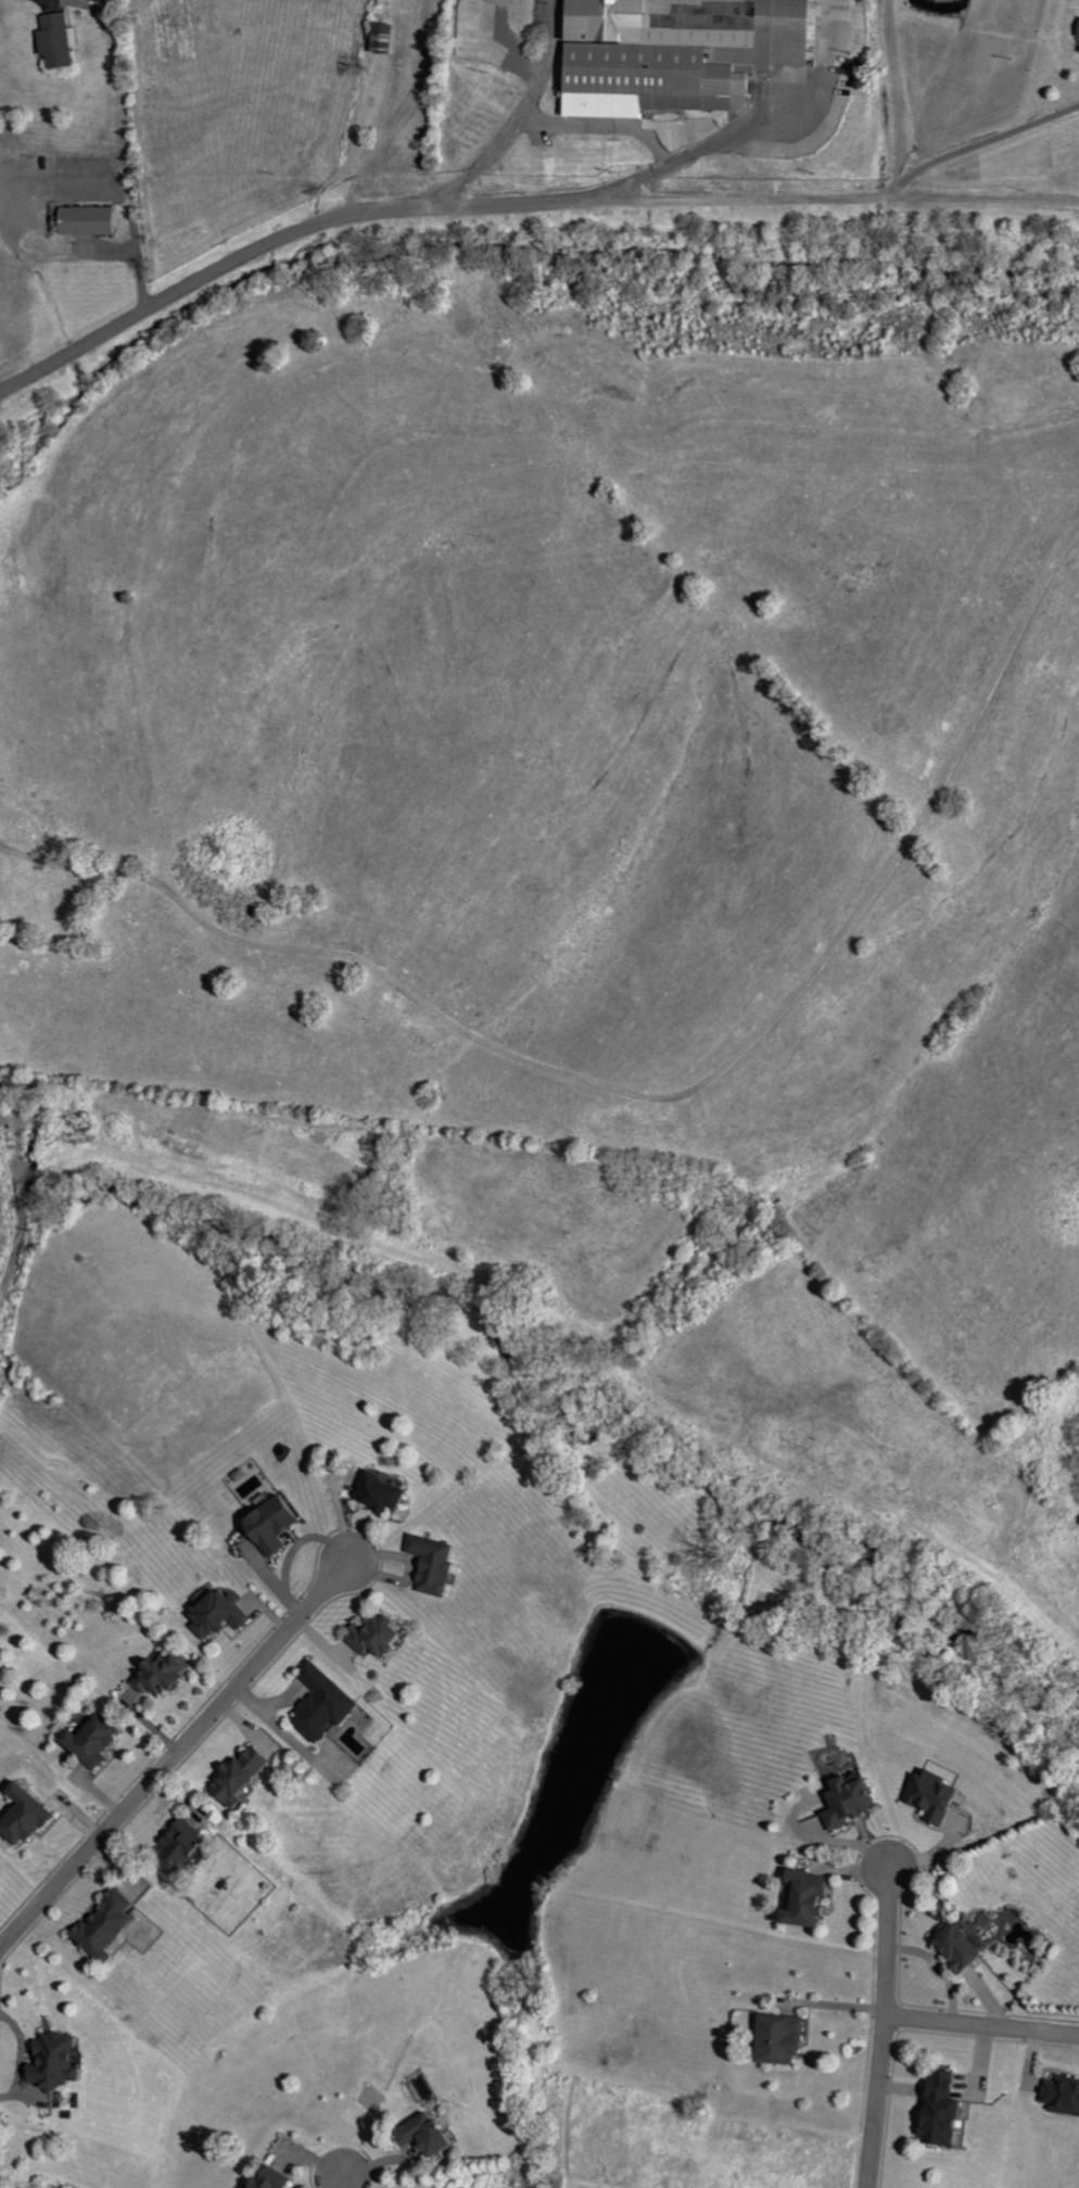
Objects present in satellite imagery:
building: (1077, 29)
building: (388, 38)
building: (61, 40)
building: (677, 48)
building: (1078, 53)
road: (820, 55)
road: (893, 93)
road: (524, 114)
road: (602, 126)
road: (852, 195)
road: (978, 199)
road: (384, 209)
road: (129, 214)
building: (93, 220)
building: (391, 1493)
building: (280, 1523)
building: (442, 1564)
building: (223, 1614)
building: (382, 1634)
building: (166, 1674)
building: (329, 1703)
building: (99, 1740)
road: (175, 1756)
building: (247, 1777)
building: (942, 1795)
building: (855, 1802)
building: (31, 1816)
building: (191, 1846)
building: (817, 1898)
building: (113, 1925)
building: (970, 1947)
road: (981, 2025)
road: (881, 2028)
building: (786, 2038)
building: (66, 2062)
building: (1065, 2092)
building: (952, 2110)
building: (437, 2135)
building: (279, 2179)
road: (345, 2180)
building: (27, 2187)

